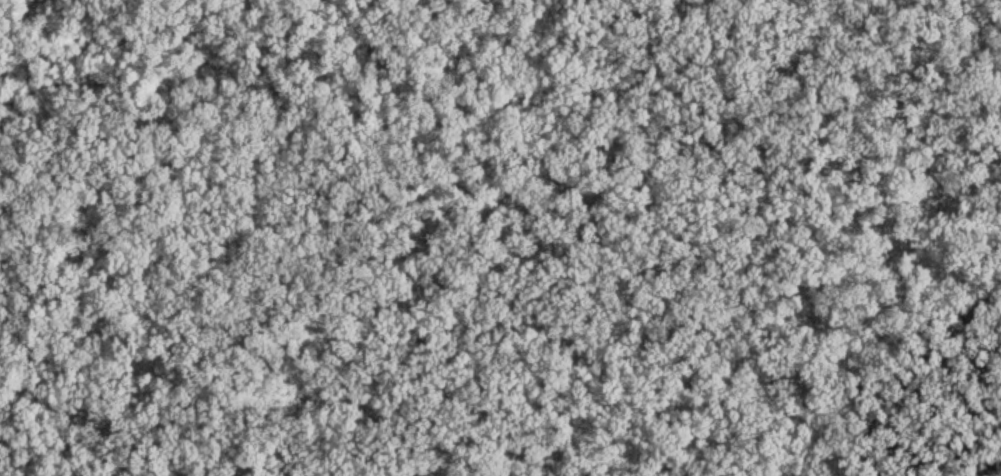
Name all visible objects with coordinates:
road: (590, 292)

